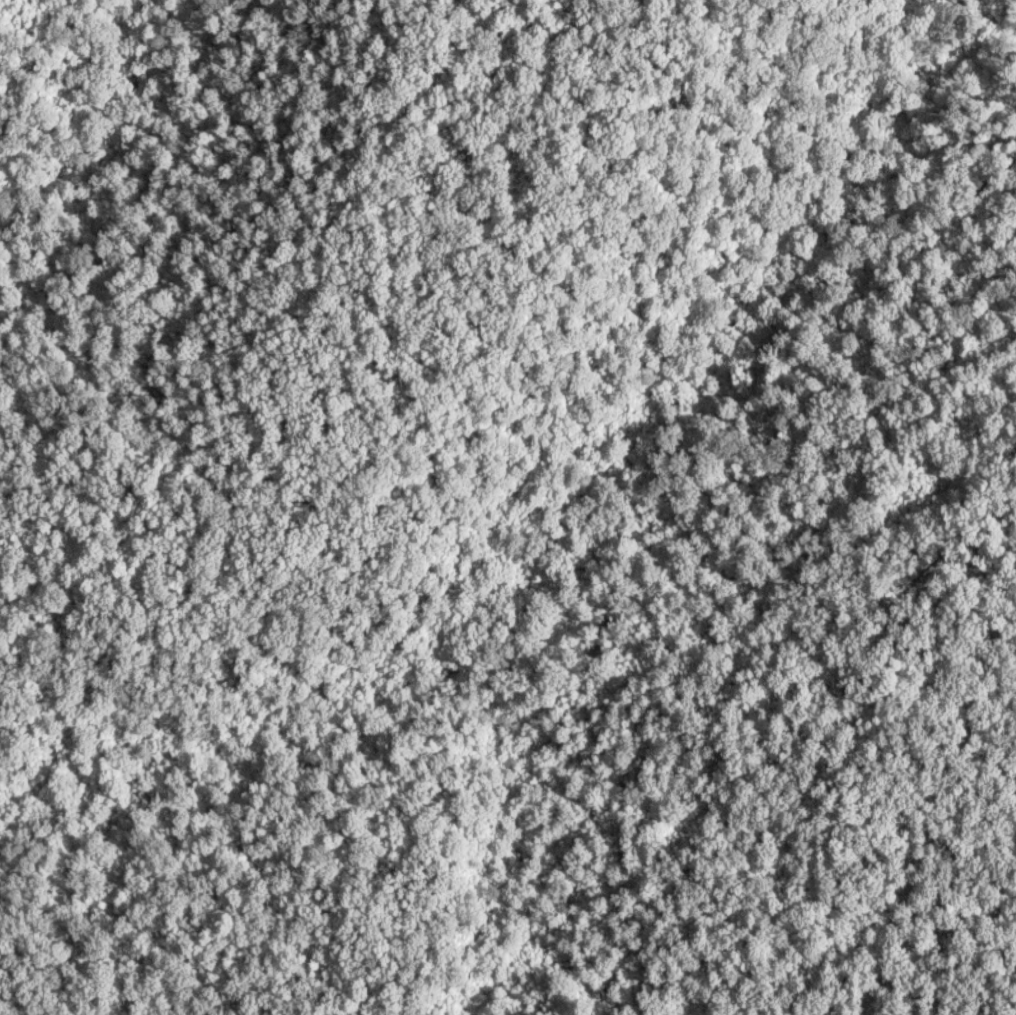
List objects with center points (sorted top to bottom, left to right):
road: (931, 795)

